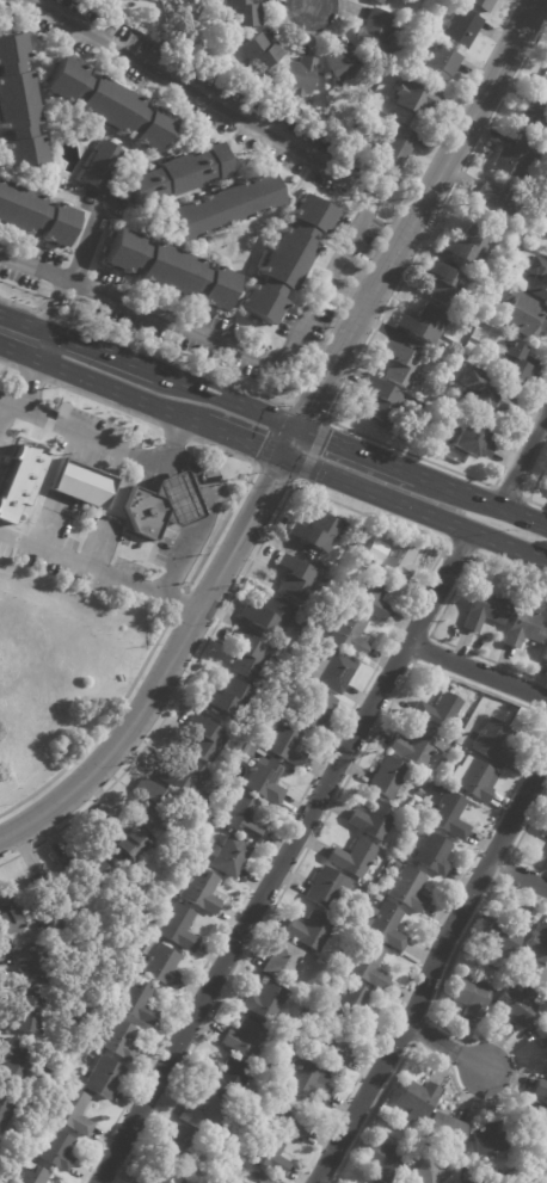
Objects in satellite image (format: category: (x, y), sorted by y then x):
building: (142, 0)
building: (182, 1)
building: (382, 1)
road: (314, 5)
building: (480, 5)
building: (242, 17)
building: (462, 29)
building: (377, 30)
building: (260, 55)
road: (32, 64)
building: (440, 66)
building: (340, 69)
building: (393, 74)
building: (300, 78)
parking lot: (204, 82)
building: (542, 85)
parking lot: (166, 97)
building: (414, 100)
building: (109, 103)
building: (17, 107)
road: (45, 111)
building: (534, 119)
road: (199, 137)
building: (397, 148)
building: (517, 161)
road: (0, 168)
building: (99, 170)
building: (173, 175)
building: (54, 180)
road: (41, 186)
building: (496, 203)
building: (221, 207)
building: (33, 215)
road: (258, 220)
parking lot: (339, 228)
road: (252, 232)
road: (215, 238)
road: (351, 240)
road: (88, 241)
road: (30, 245)
building: (471, 246)
parking lot: (45, 257)
building: (283, 260)
building: (165, 270)
building: (542, 279)
parking lot: (107, 282)
road: (241, 282)
parking lot: (342, 285)
building: (448, 285)
road: (75, 289)
road: (59, 290)
road: (295, 302)
road: (18, 306)
road: (47, 314)
road: (66, 314)
building: (524, 315)
road: (54, 319)
road: (27, 322)
parking lot: (129, 322)
building: (424, 324)
parking lot: (223, 327)
parking lot: (284, 327)
road: (49, 347)
road: (21, 352)
road: (106, 355)
building: (463, 356)
building: (517, 363)
road: (8, 364)
building: (402, 365)
road: (33, 374)
road: (33, 383)
road: (232, 383)
road: (122, 392)
building: (484, 398)
road: (11, 401)
building: (383, 401)
road: (105, 402)
road: (227, 402)
road: (4, 408)
traffic signals: (297, 430)
road: (177, 431)
road: (177, 437)
road: (241, 439)
road: (291, 439)
building: (473, 440)
road: (357, 454)
building: (30, 455)
traffic signals: (282, 456)
road: (518, 457)
building: (80, 483)
road: (235, 498)
road: (481, 503)
building: (161, 506)
road: (413, 511)
road: (201, 528)
building: (316, 529)
building: (359, 550)
building: (397, 557)
building: (297, 577)
building: (370, 596)
road: (178, 602)
building: (485, 610)
building: (272, 612)
building: (523, 627)
building: (349, 633)
building: (545, 652)
building: (248, 657)
road: (475, 664)
building: (333, 671)
building: (475, 695)
building: (231, 698)
building: (315, 708)
building: (438, 710)
road: (100, 729)
building: (205, 739)
building: (492, 740)
building: (285, 744)
building: (418, 745)
building: (258, 751)
building: (460, 751)
building: (184, 776)
building: (389, 777)
building: (474, 778)
building: (264, 780)
building: (227, 784)
building: (438, 788)
building: (420, 791)
building: (153, 802)
building: (448, 814)
building: (240, 817)
building: (371, 819)
building: (545, 828)
building: (121, 840)
building: (434, 852)
building: (229, 856)
road: (281, 856)
building: (352, 857)
building: (397, 865)
building: (84, 867)
road: (520, 871)
building: (327, 887)
building: (408, 889)
building: (201, 891)
building: (377, 898)
building: (57, 900)
building: (7, 913)
building: (383, 924)
building: (177, 926)
building: (311, 930)
building: (508, 932)
building: (536, 945)
building: (282, 961)
building: (367, 963)
building: (161, 965)
building: (480, 965)
building: (33, 966)
road: (431, 969)
building: (472, 996)
building: (137, 1002)
building: (265, 1002)
building: (352, 1004)
building: (515, 1005)
building: (27, 1013)
building: (540, 1034)
building: (118, 1039)
building: (244, 1039)
building: (333, 1042)
road: (444, 1049)
building: (14, 1067)
building: (104, 1077)
building: (226, 1078)
building: (312, 1078)
building: (541, 1088)
building: (417, 1101)
building: (6, 1109)
building: (465, 1110)
building: (73, 1111)
building: (205, 1115)
building: (288, 1115)
building: (535, 1120)
building: (445, 1134)
building: (490, 1138)
building: (179, 1147)
building: (0, 1148)
building: (56, 1150)
building: (269, 1152)
building: (382, 1159)
building: (424, 1166)
building: (468, 1173)
building: (32, 1176)
building: (250, 1176)
building: (161, 1177)
building: (463, 1182)
building: (466, 1182)

